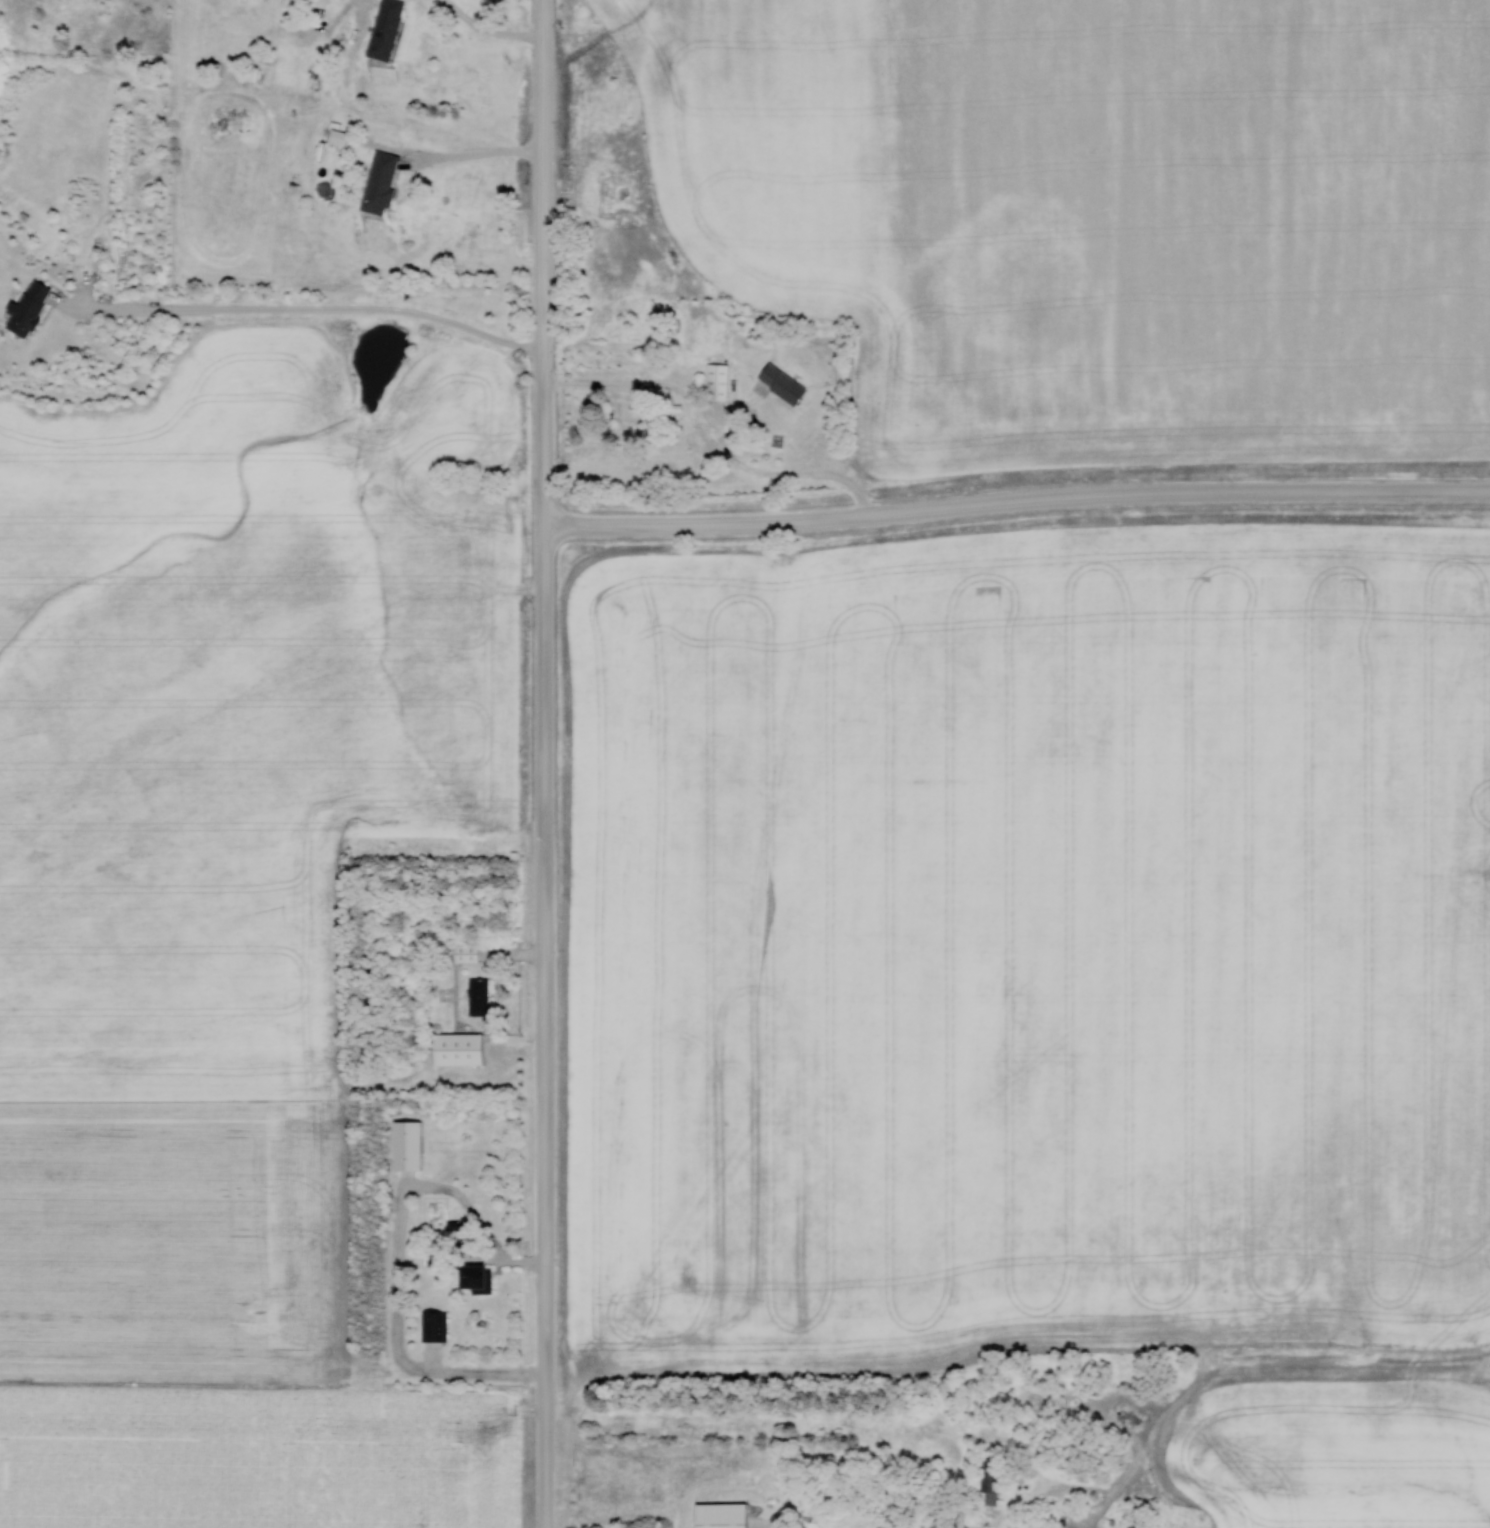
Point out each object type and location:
building: (385, 29)
road: (490, 30)
building: (338, 137)
road: (485, 151)
building: (380, 182)
road: (308, 307)
building: (28, 308)
building: (716, 381)
road: (657, 383)
building: (781, 383)
road: (1017, 500)
road: (545, 763)
building: (478, 996)
building: (458, 1048)
building: (407, 1144)
building: (475, 1278)
building: (434, 1325)
building: (988, 1480)
building: (721, 1515)
building: (1139, 1526)

